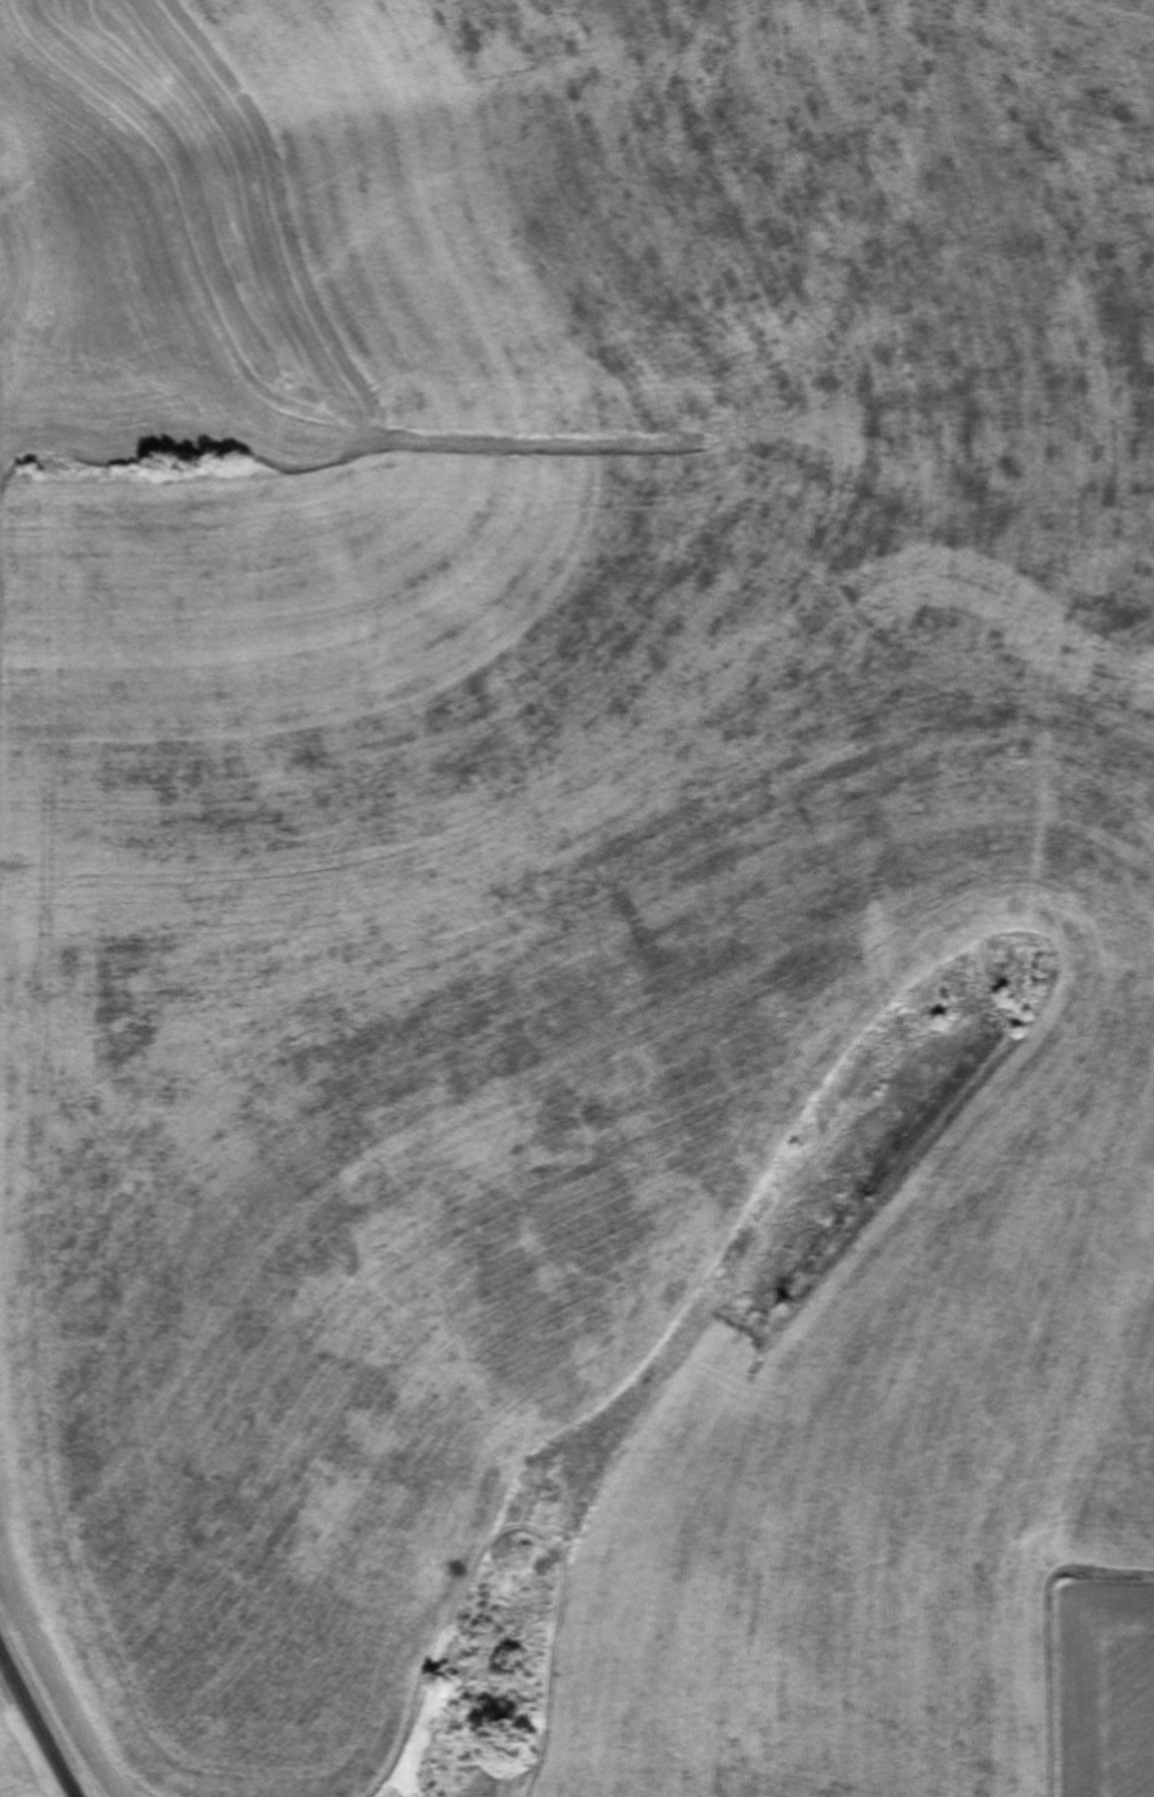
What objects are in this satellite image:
road: (18, 1768)
road: (26, 1795)

